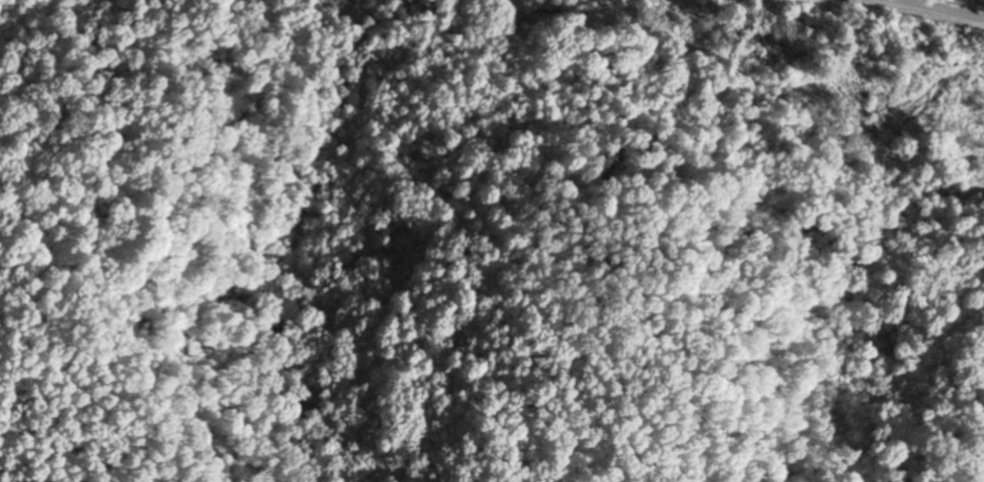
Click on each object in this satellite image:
road: (932, 11)

